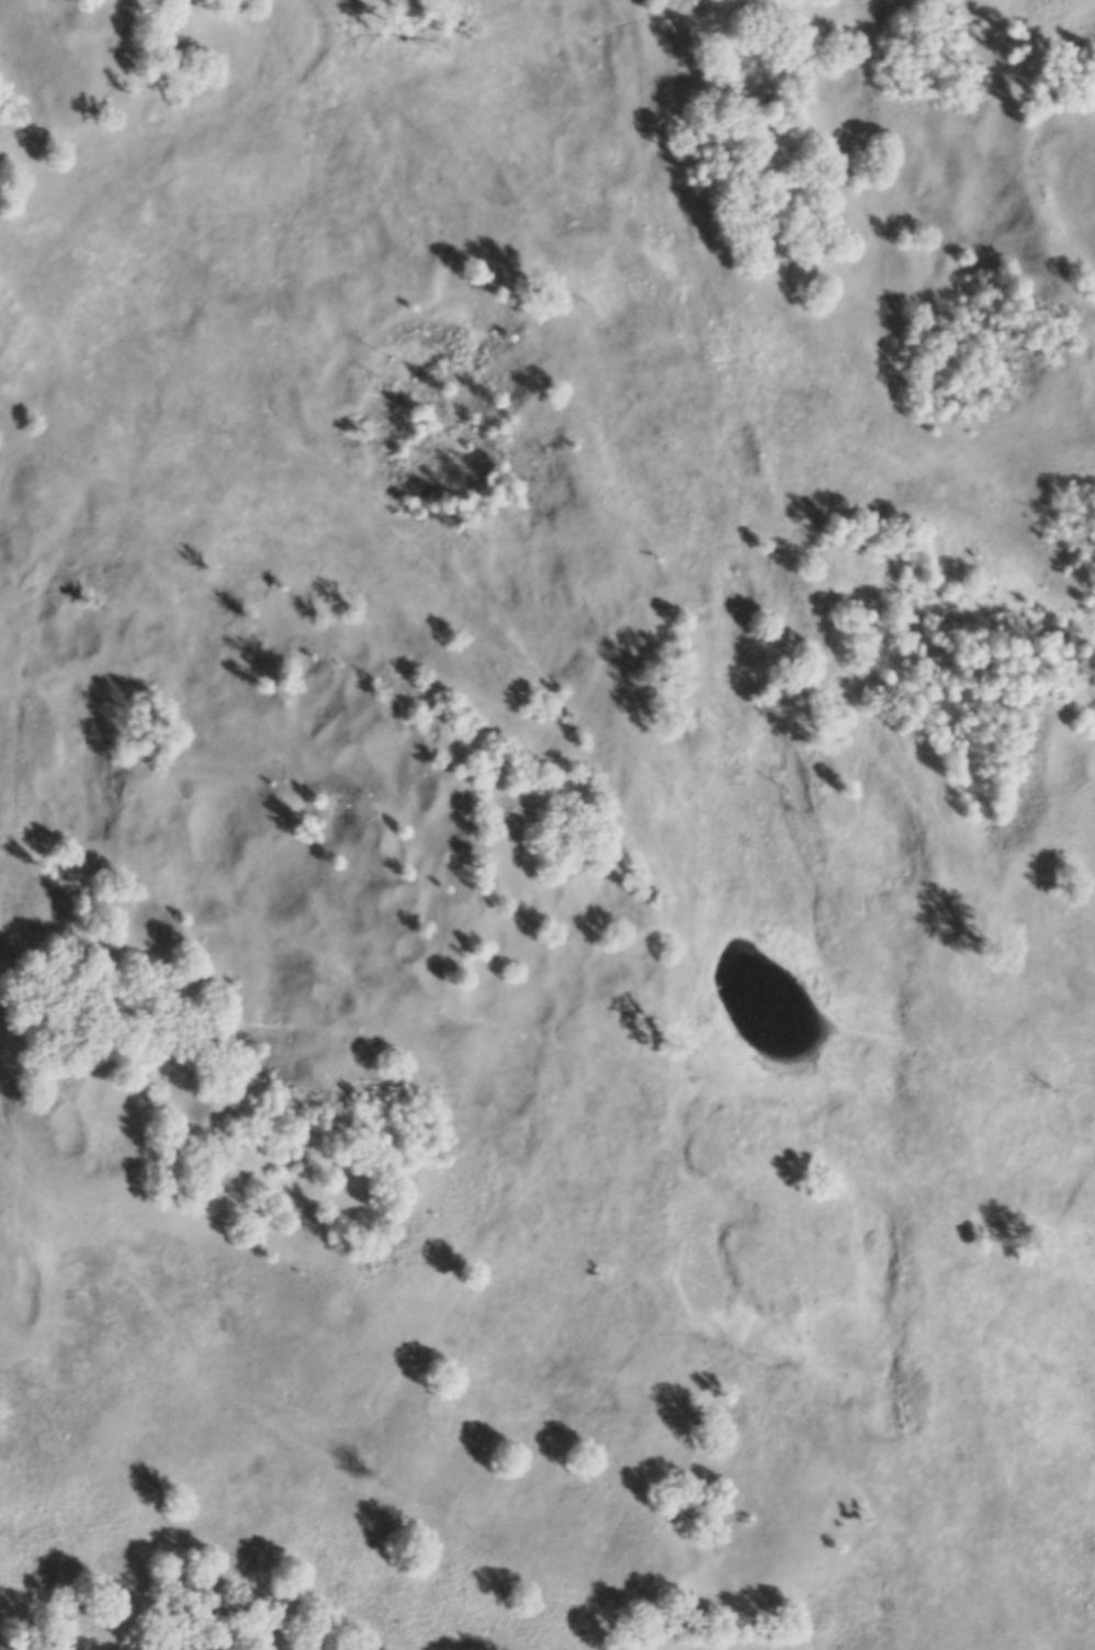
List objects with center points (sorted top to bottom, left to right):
road: (192, 1609)

